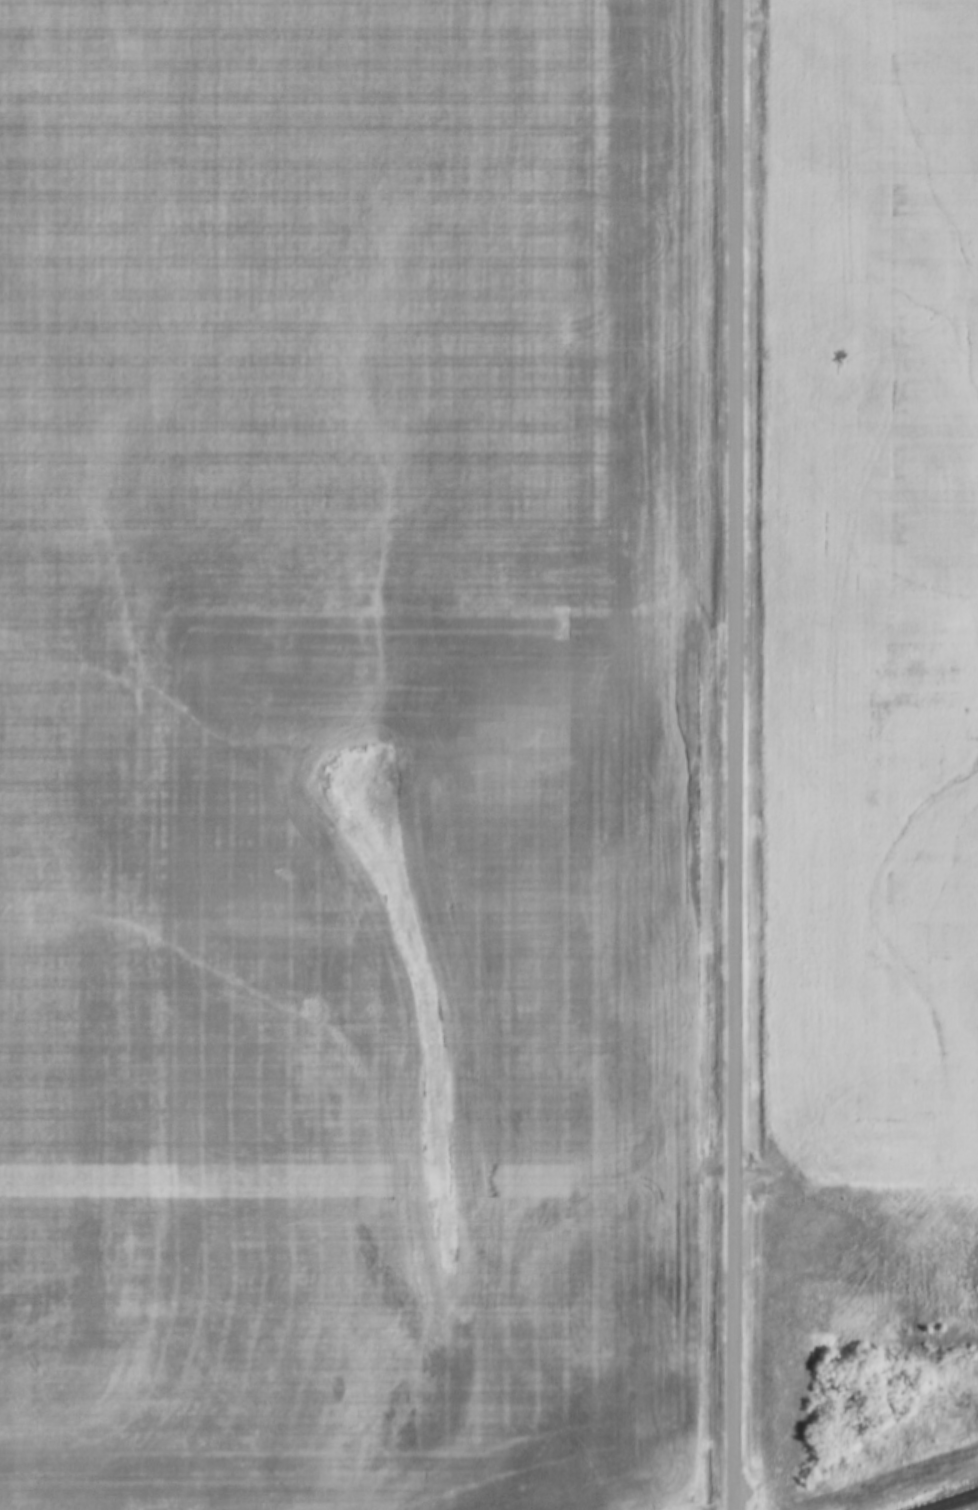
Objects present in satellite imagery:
building: (731, 82)
building: (731, 233)
road: (735, 755)
railway: (943, 1498)

